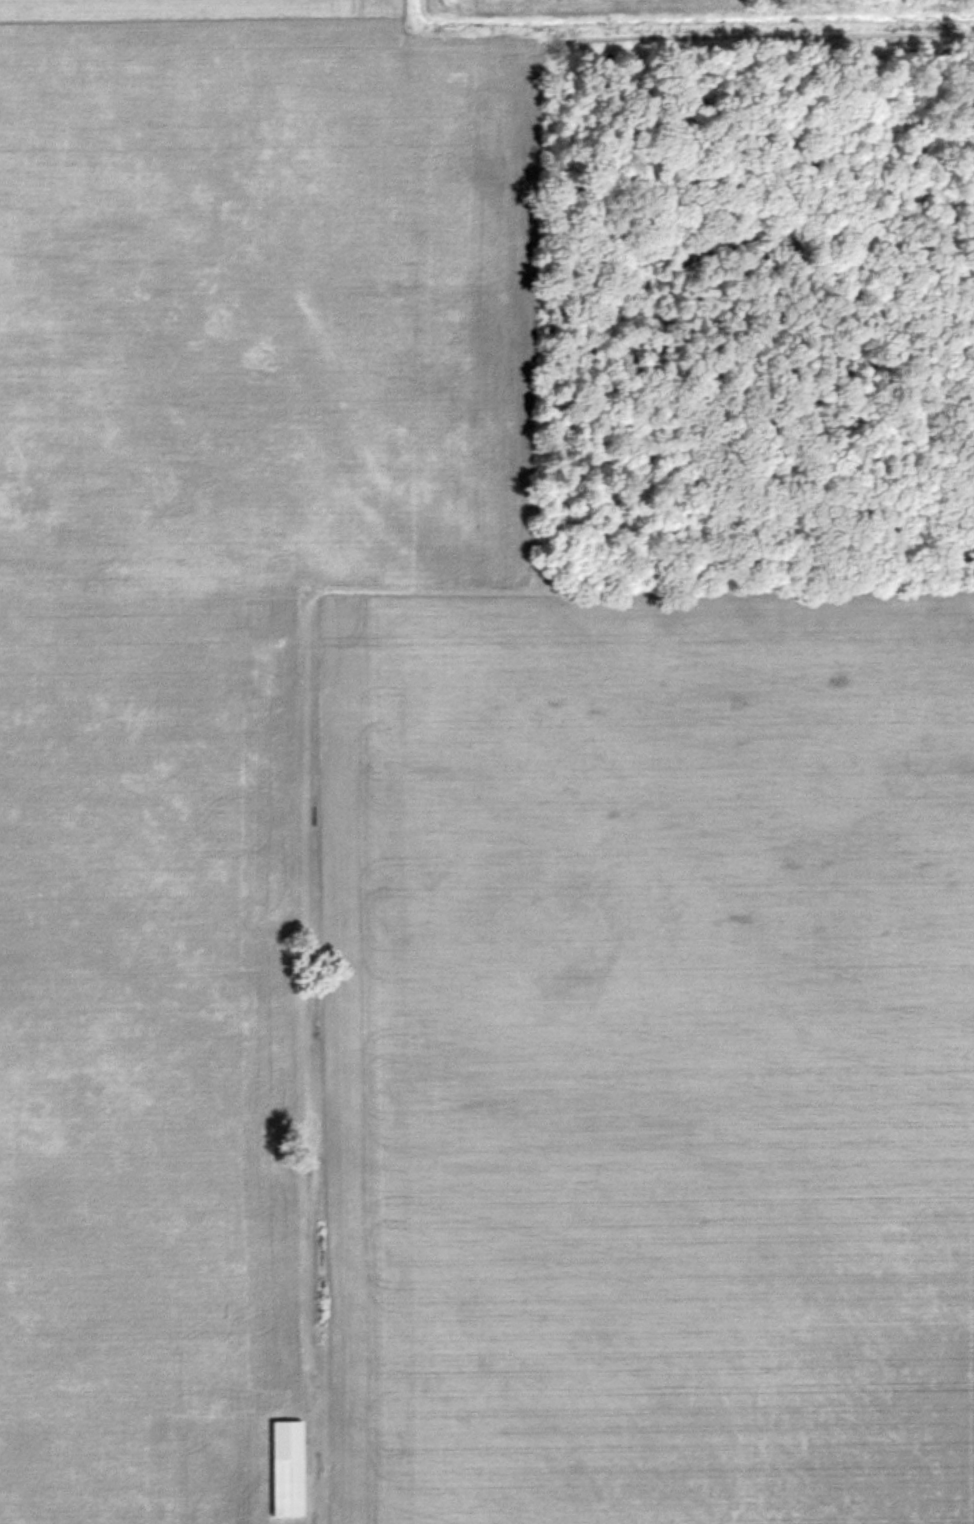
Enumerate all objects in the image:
building: (289, 1466)
road: (319, 1492)

